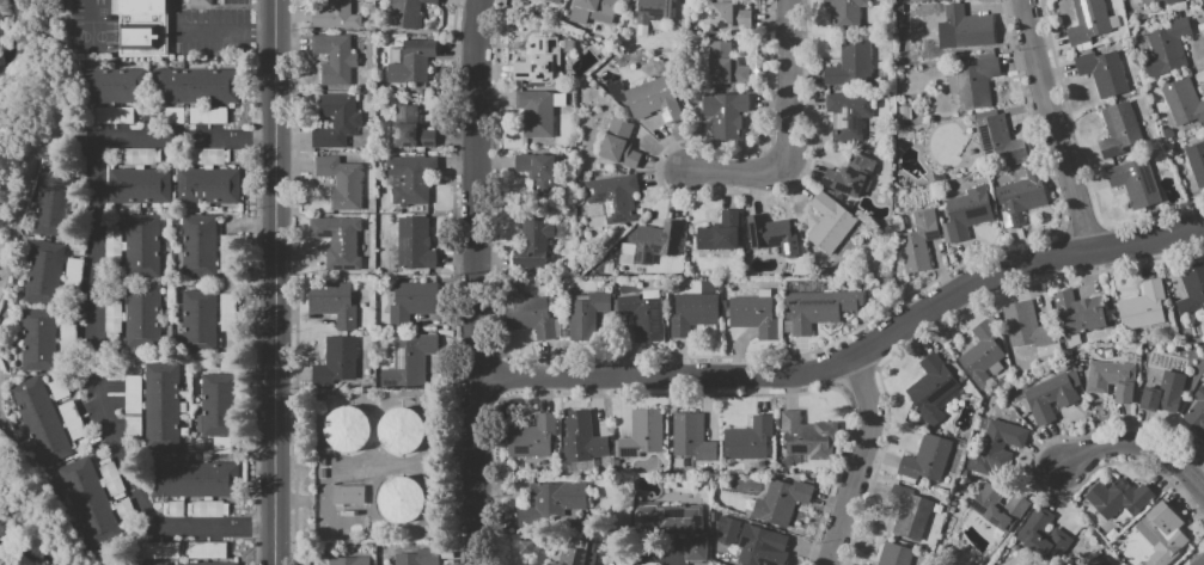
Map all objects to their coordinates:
building: (903, 0)
parking lot: (236, 1)
building: (554, 1)
building: (1148, 1)
building: (1172, 1)
building: (200, 2)
building: (141, 7)
building: (592, 11)
building: (654, 12)
building: (847, 12)
building: (407, 13)
building: (728, 14)
building: (336, 16)
building: (1088, 22)
building: (968, 27)
road: (210, 33)
parking lot: (214, 33)
building: (139, 36)
building: (1167, 48)
building: (334, 57)
building: (534, 61)
building: (412, 62)
building: (725, 63)
building: (850, 63)
building: (1102, 72)
building: (970, 85)
building: (114, 86)
building: (167, 86)
building: (195, 86)
building: (224, 86)
building: (368, 98)
building: (654, 100)
building: (1182, 102)
building: (538, 111)
building: (112, 113)
building: (725, 113)
building: (172, 115)
building: (207, 115)
building: (848, 115)
building: (336, 121)
road: (1055, 125)
building: (408, 128)
road: (787, 129)
building: (1117, 129)
building: (998, 140)
building: (619, 143)
building: (139, 156)
building: (207, 156)
building: (379, 158)
building: (1196, 160)
building: (537, 172)
building: (849, 174)
building: (409, 178)
building: (1135, 182)
building: (341, 183)
building: (137, 186)
building: (192, 186)
building: (224, 186)
building: (615, 196)
building: (1020, 196)
power tower: (4, 201)
building: (51, 203)
building: (966, 213)
building: (829, 222)
building: (198, 231)
building: (720, 232)
building: (768, 234)
building: (656, 240)
building: (918, 240)
building: (533, 241)
building: (338, 242)
building: (415, 244)
building: (111, 245)
building: (141, 246)
building: (227, 253)
building: (198, 262)
building: (42, 272)
building: (532, 281)
road: (276, 282)
road: (476, 282)
building: (1192, 289)
building: (411, 302)
building: (332, 303)
building: (198, 305)
building: (1142, 306)
building: (587, 309)
building: (815, 309)
road: (96, 312)
building: (227, 312)
building: (1078, 312)
building: (692, 313)
building: (754, 314)
building: (642, 315)
building: (112, 317)
building: (141, 317)
building: (530, 317)
building: (1023, 324)
building: (198, 337)
building: (37, 339)
building: (67, 343)
building: (982, 355)
road: (852, 356)
building: (335, 361)
building: (226, 362)
building: (404, 366)
building: (1111, 379)
building: (935, 386)
building: (57, 387)
building: (216, 389)
building: (1162, 392)
building: (132, 394)
building: (1049, 398)
building: (160, 405)
building: (1197, 412)
building: (39, 419)
building: (72, 420)
building: (216, 420)
building: (132, 426)
building: (346, 428)
storage tank: (348, 429)
building: (401, 430)
storage tank: (401, 430)
building: (642, 434)
building: (807, 436)
building: (532, 437)
building: (692, 437)
building: (583, 438)
building: (748, 438)
building: (1000, 443)
road: (1142, 443)
building: (222, 444)
building: (925, 457)
road: (858, 461)
road: (361, 465)
building: (111, 478)
building: (167, 479)
building: (195, 479)
building: (221, 479)
building: (348, 495)
building: (1118, 497)
building: (401, 499)
storage tank: (402, 499)
building: (87, 500)
building: (564, 502)
building: (781, 502)
building: (123, 508)
building: (998, 508)
building: (172, 509)
building: (207, 509)
building: (909, 511)
building: (366, 523)
building: (673, 524)
building: (1162, 534)
building: (1043, 535)
building: (760, 546)
building: (159, 549)
building: (207, 549)
road: (654, 552)
building: (581, 554)
building: (894, 554)
building: (414, 559)
building: (347, 560)
building: (221, 563)
building: (1106, 563)
building: (139, 564)
building: (191, 564)
building: (866, 564)

